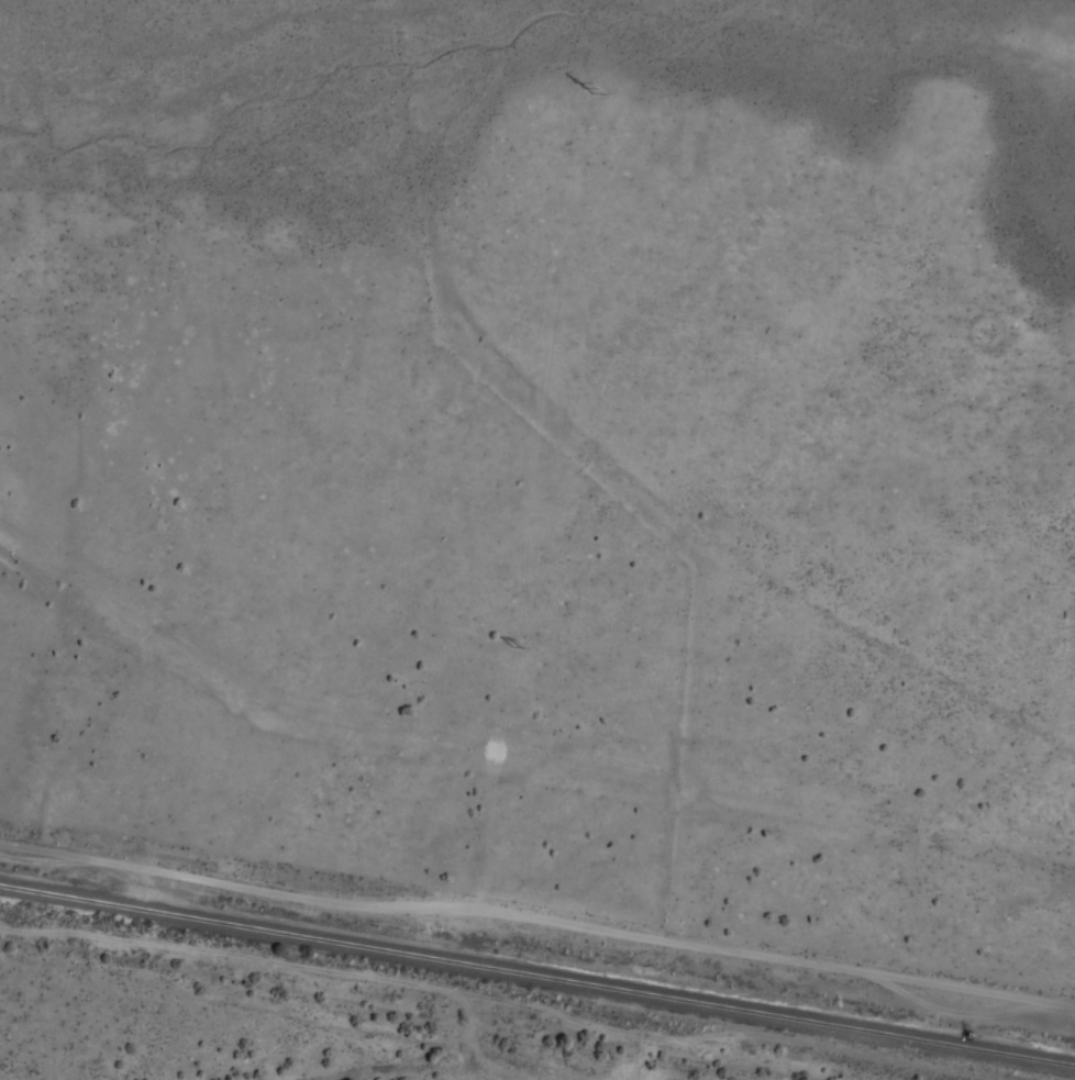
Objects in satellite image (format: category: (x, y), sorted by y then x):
railway: (537, 976)

